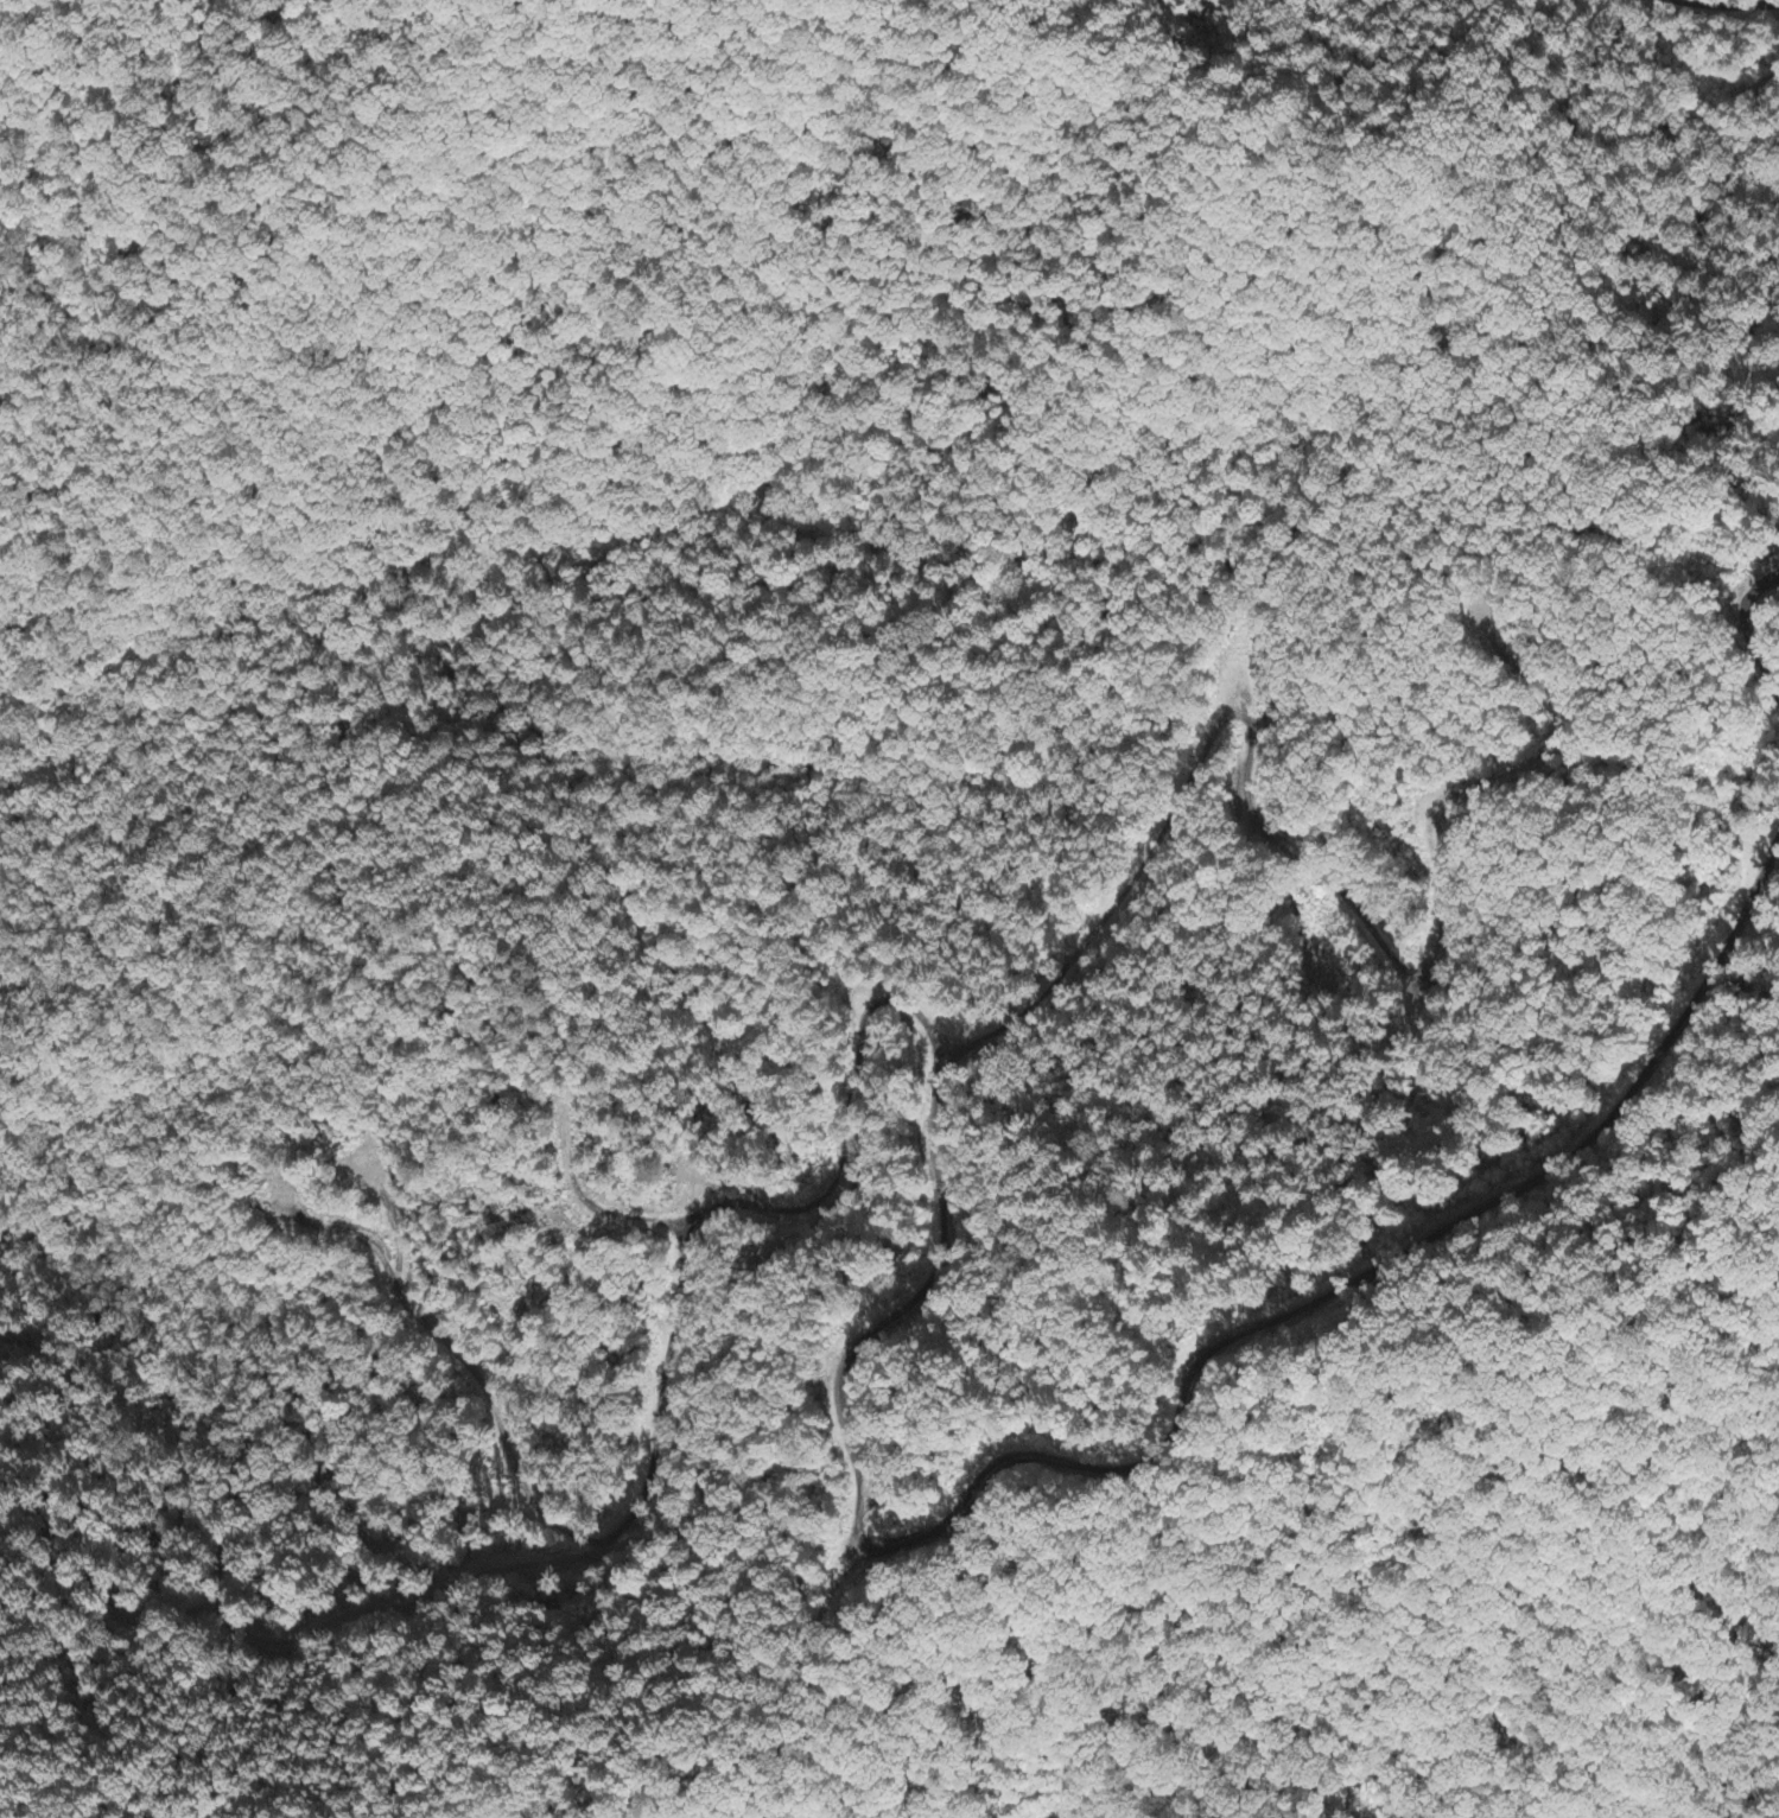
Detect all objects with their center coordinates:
road: (1729, 5)
road: (1749, 629)

